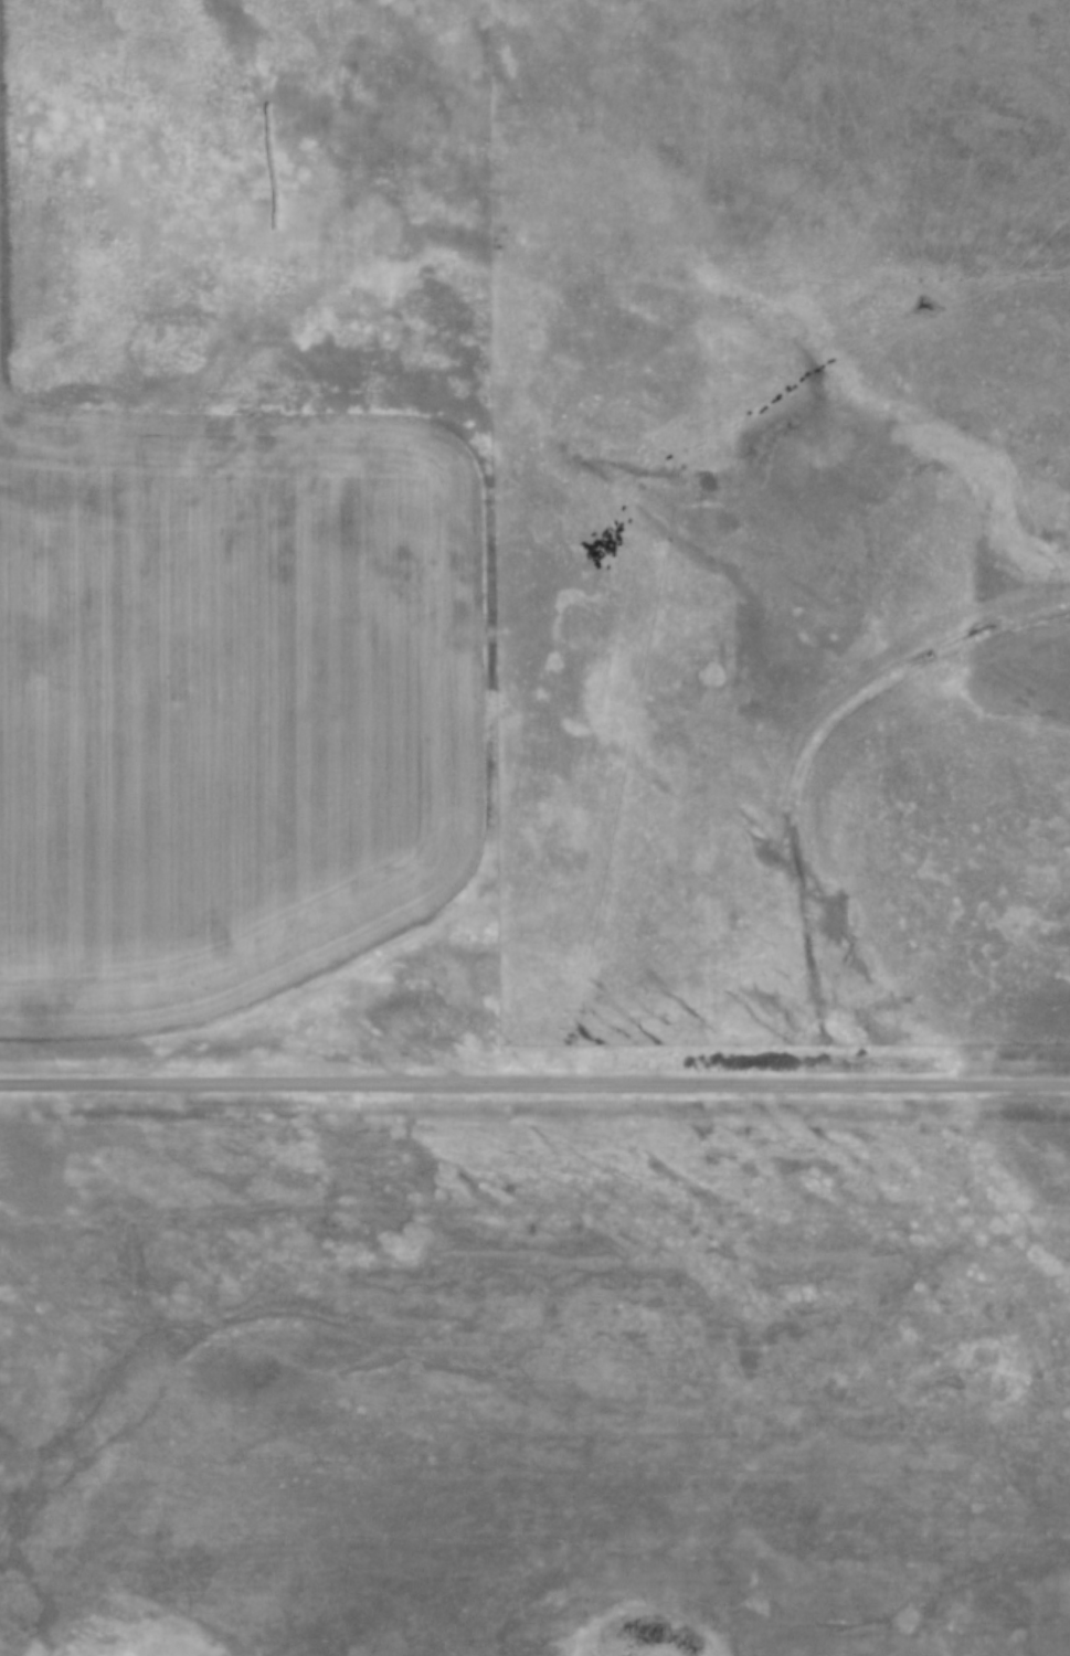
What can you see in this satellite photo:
road: (534, 1089)

